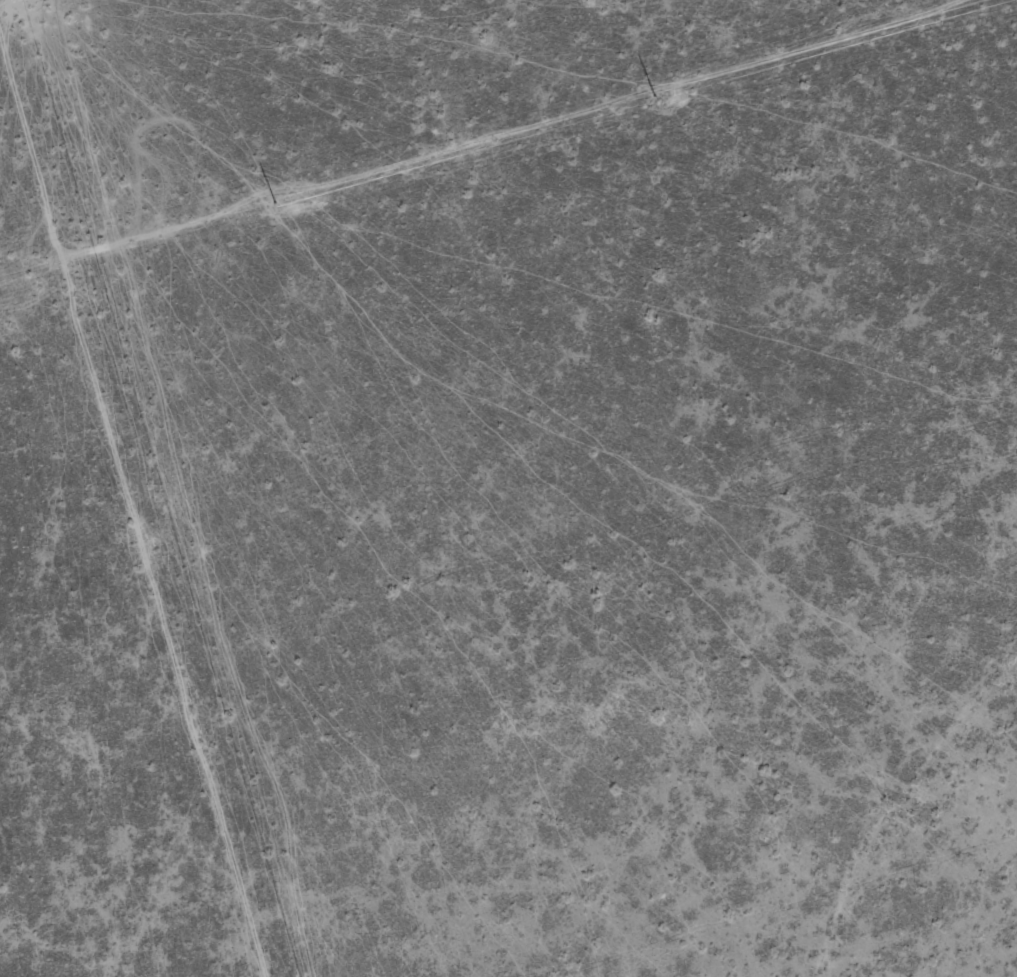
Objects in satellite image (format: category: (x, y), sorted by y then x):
power tower: (646, 93)
power tower: (268, 200)

